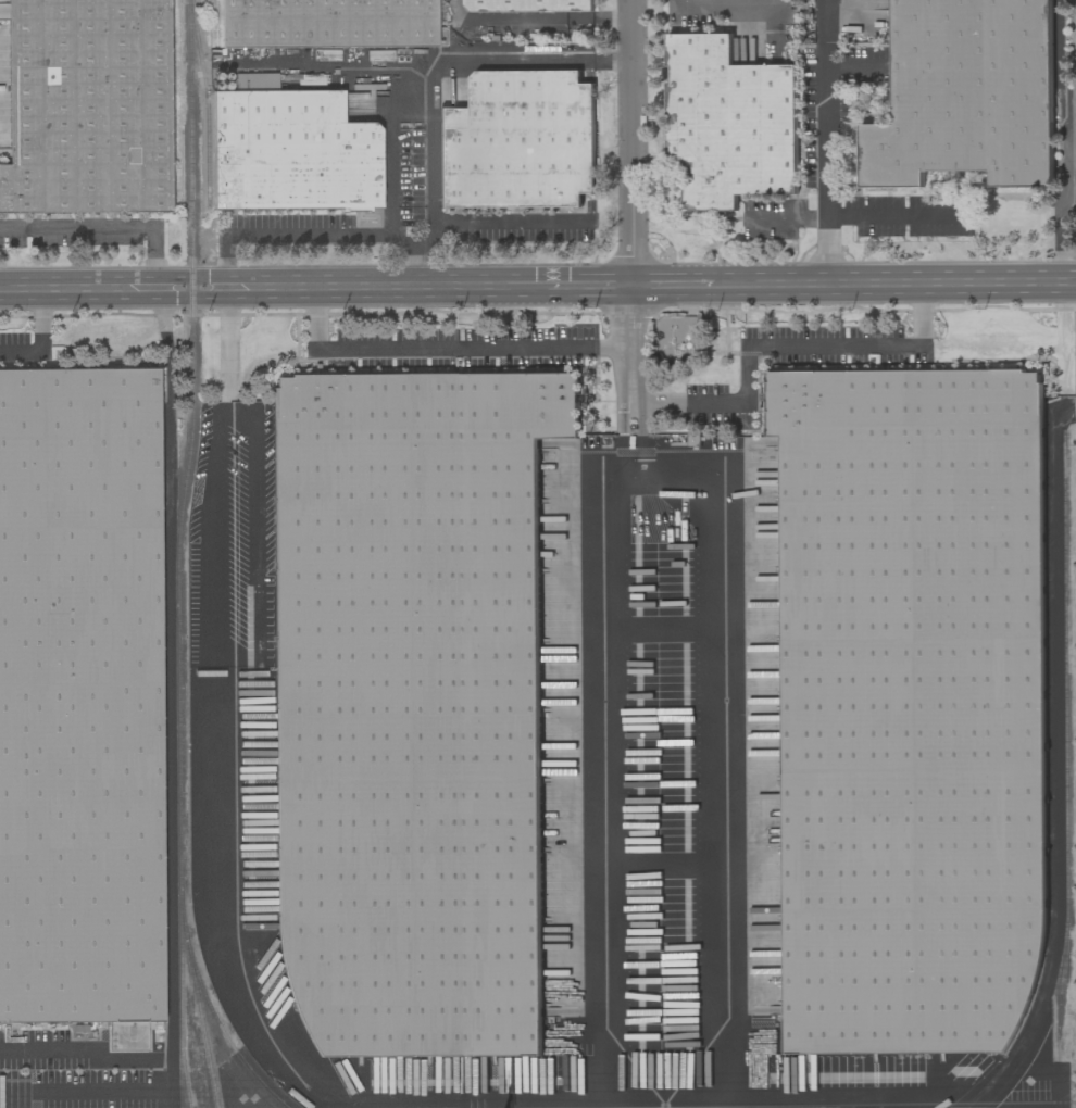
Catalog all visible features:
road: (701, 4)
building: (527, 5)
road: (745, 5)
road: (536, 20)
railway: (215, 23)
building: (327, 24)
road: (529, 63)
road: (396, 80)
building: (249, 81)
building: (966, 95)
railway: (207, 101)
building: (87, 108)
building: (729, 123)
road: (827, 140)
road: (1067, 140)
building: (518, 141)
road: (635, 141)
building: (291, 153)
road: (789, 221)
road: (500, 224)
road: (107, 227)
road: (326, 230)
road: (537, 284)
road: (40, 338)
building: (676, 340)
road: (630, 343)
road: (778, 344)
road: (439, 347)
road: (624, 429)
road: (642, 429)
railway: (177, 568)
building: (85, 703)
building: (412, 706)
building: (913, 709)
road: (209, 721)
railway: (1051, 772)
railway: (1065, 780)
railway: (180, 1002)
railway: (201, 1028)
road: (115, 1053)
road: (689, 1104)
road: (503, 1106)

